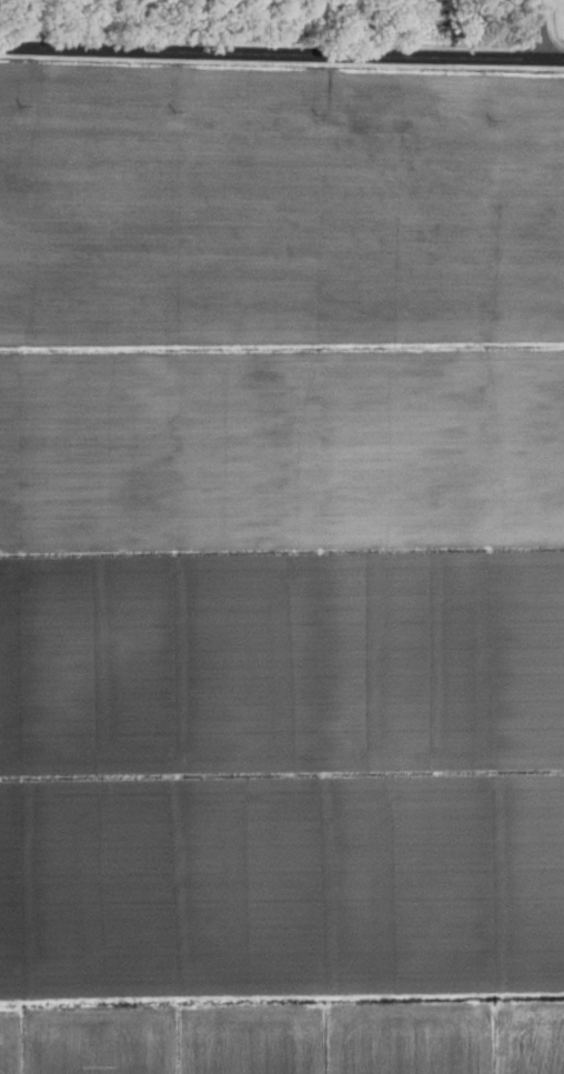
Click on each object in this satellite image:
road: (536, 32)
road: (268, 57)
road: (550, 64)

